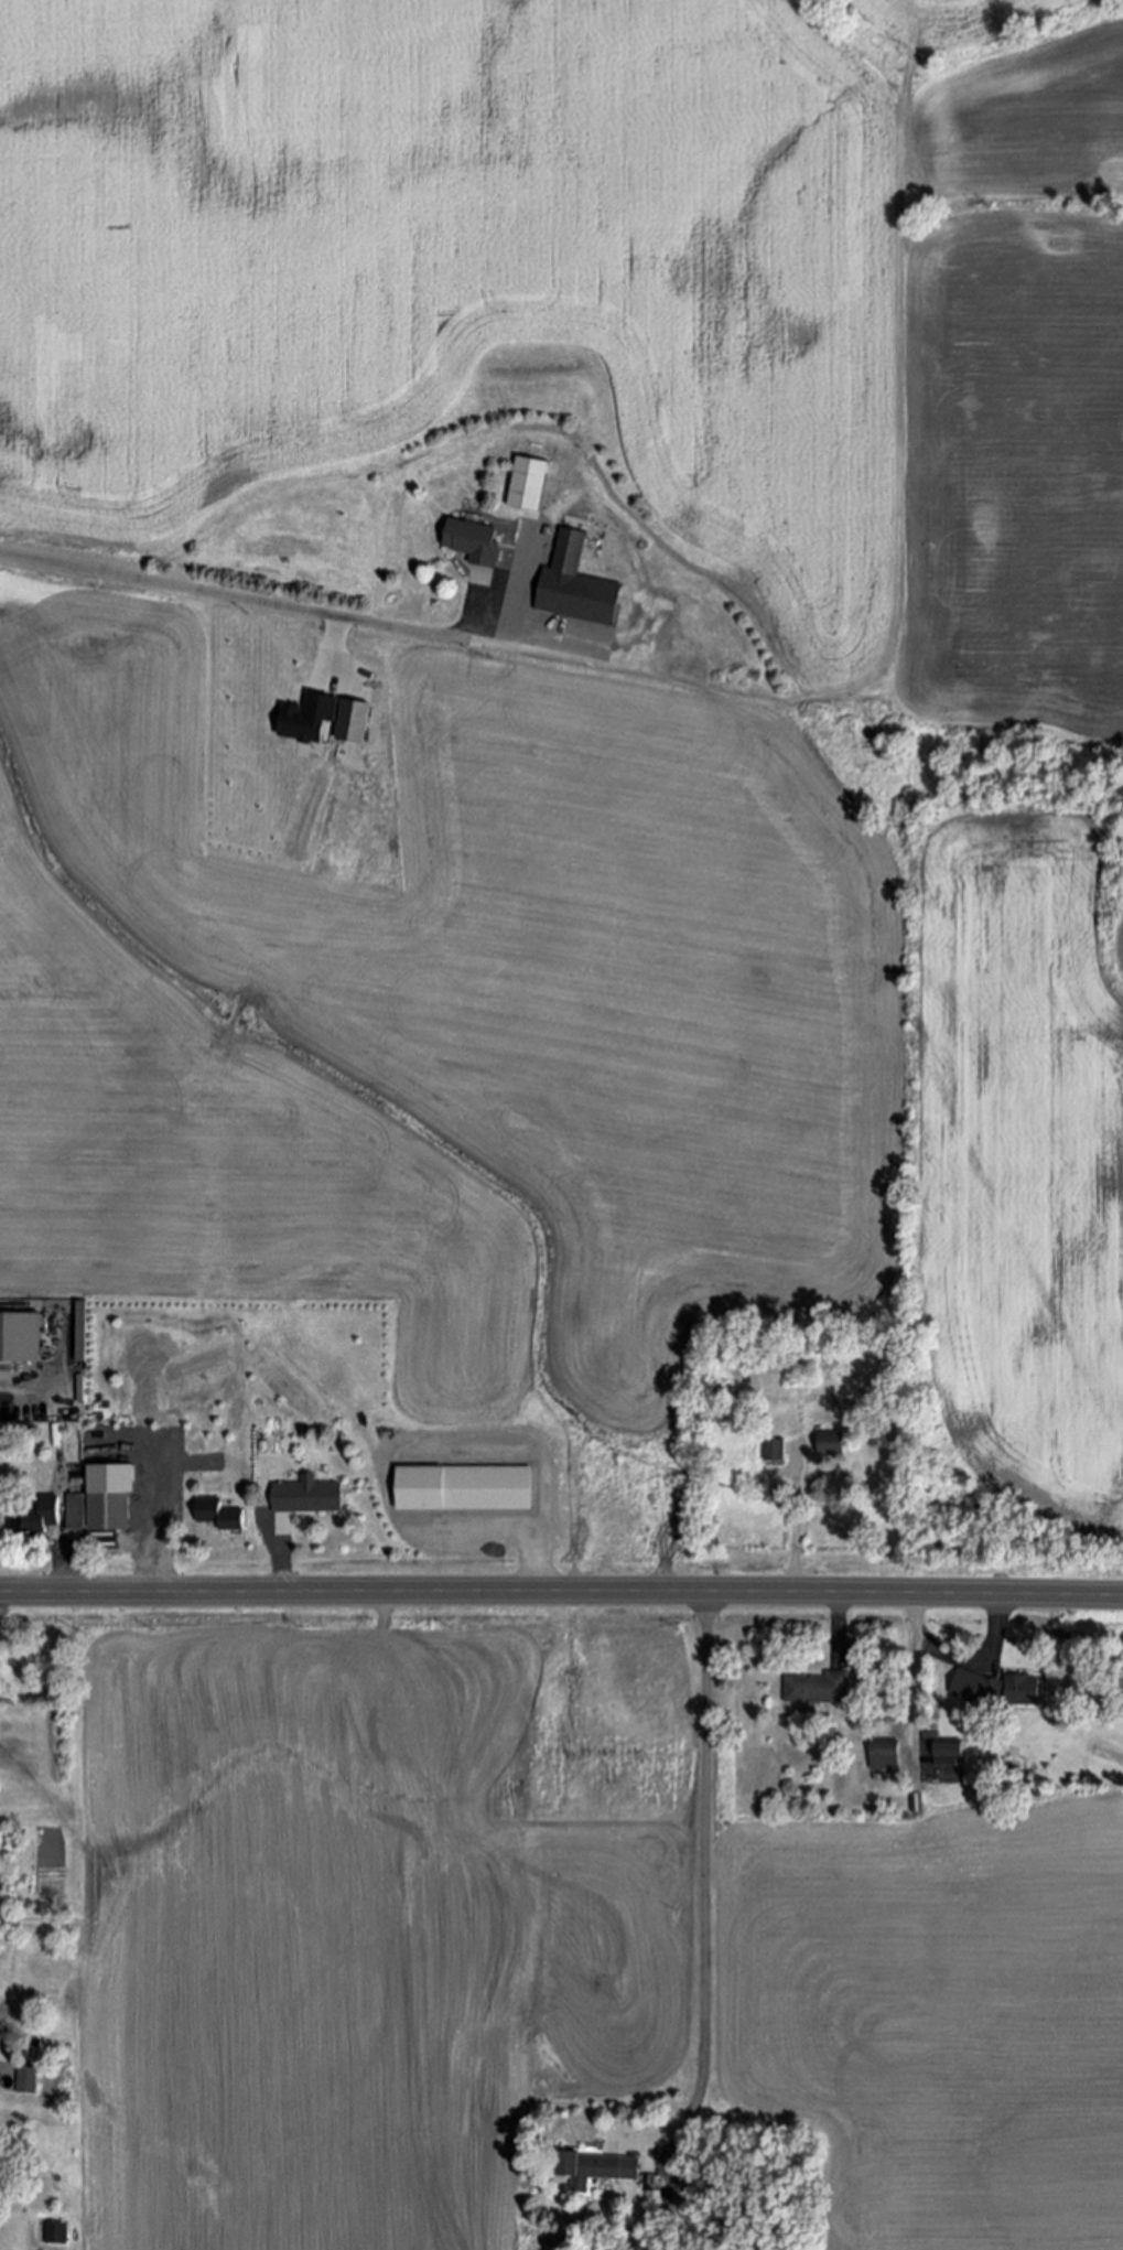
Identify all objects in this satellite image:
crop: (943, 19)
crop: (596, 298)
building: (527, 484)
building: (473, 540)
building: (575, 585)
road: (241, 600)
building: (306, 717)
building: (355, 720)
crop: (1120, 947)
crop: (554, 1045)
building: (9, 1336)
building: (831, 1444)
building: (774, 1451)
road: (61, 1468)
building: (467, 1487)
building: (307, 1496)
building: (76, 1511)
building: (110, 1512)
building: (214, 1514)
building: (37, 1520)
road: (795, 1528)
road: (163, 1532)
road: (280, 1562)
road: (561, 1593)
road: (838, 1625)
road: (960, 1662)
building: (818, 1689)
building: (998, 1691)
building: (948, 1752)
building: (884, 1757)
road: (704, 1864)
crop: (370, 1910)
crop: (935, 2014)
building: (28, 2080)
building: (596, 2171)
building: (52, 2232)

